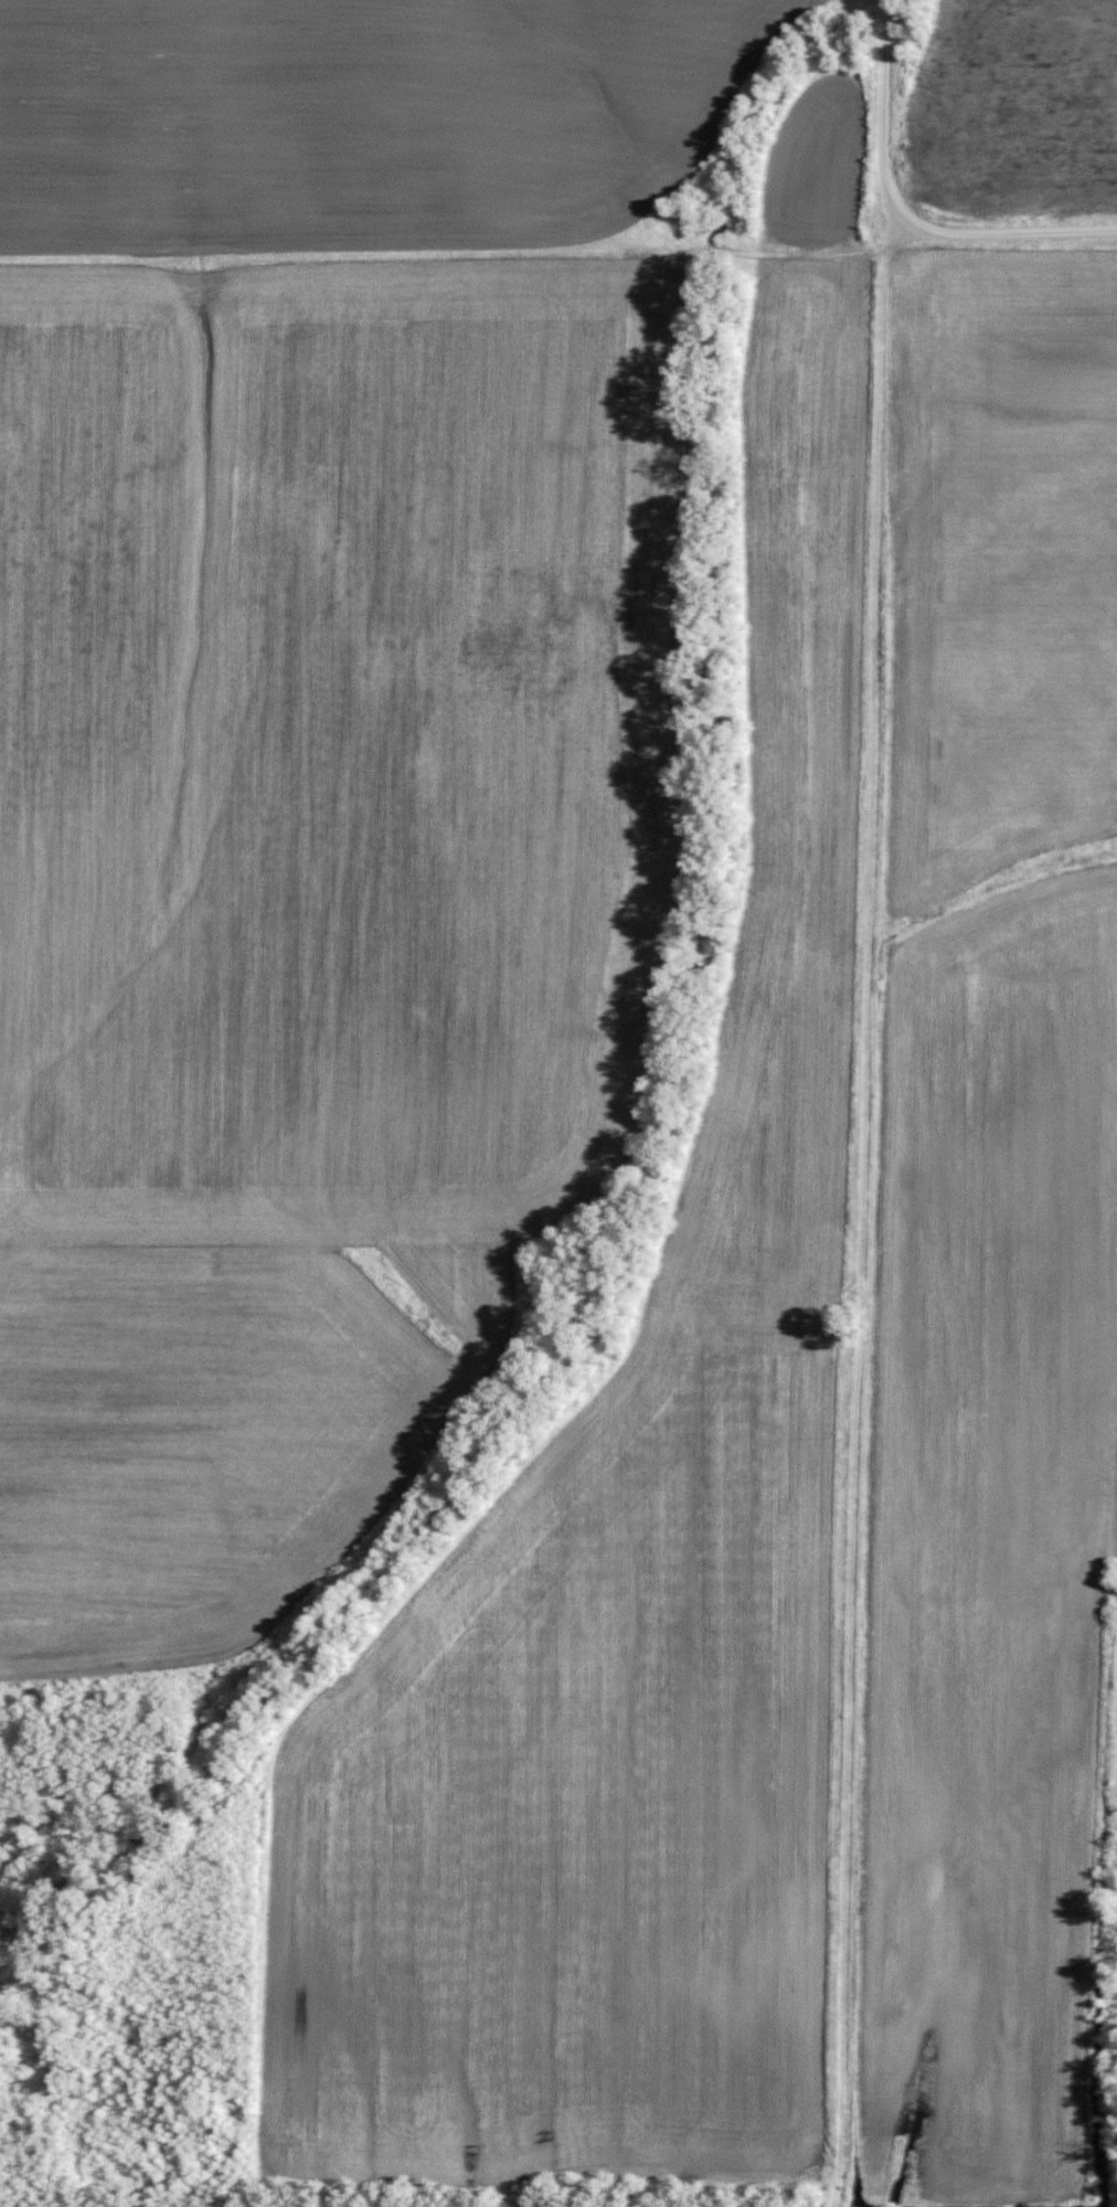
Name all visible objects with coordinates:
road: (891, 113)
road: (1012, 234)

